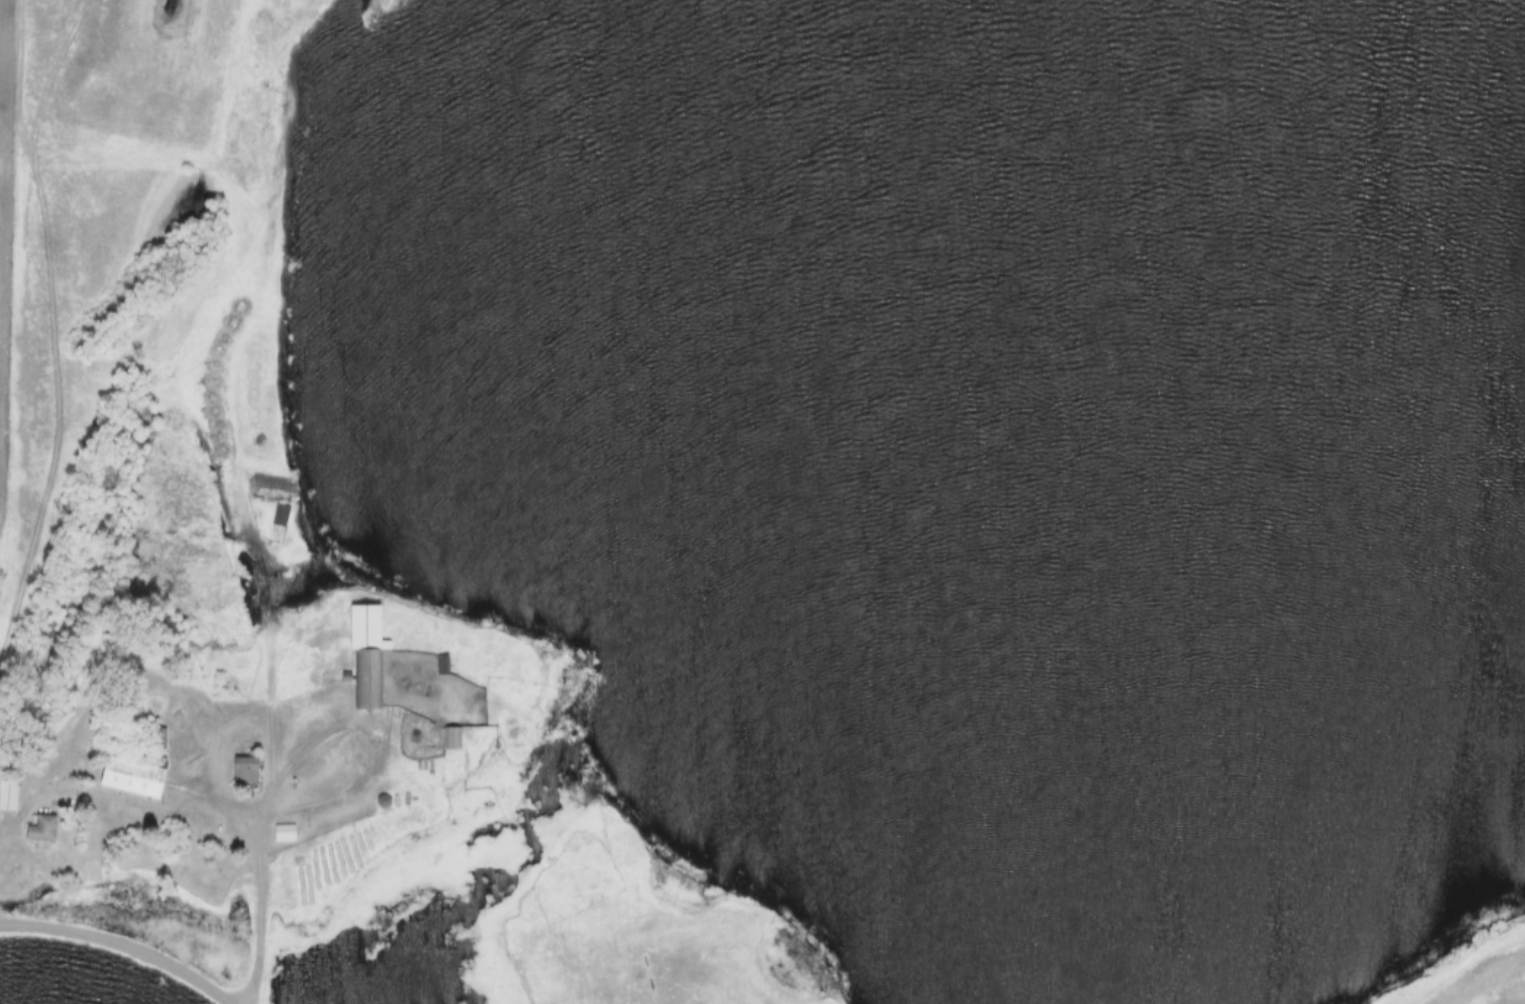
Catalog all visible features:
road: (281, 387)
building: (249, 773)
building: (138, 779)
building: (10, 797)
road: (15, 824)
building: (43, 830)
road: (261, 832)
building: (286, 834)
road: (114, 953)

